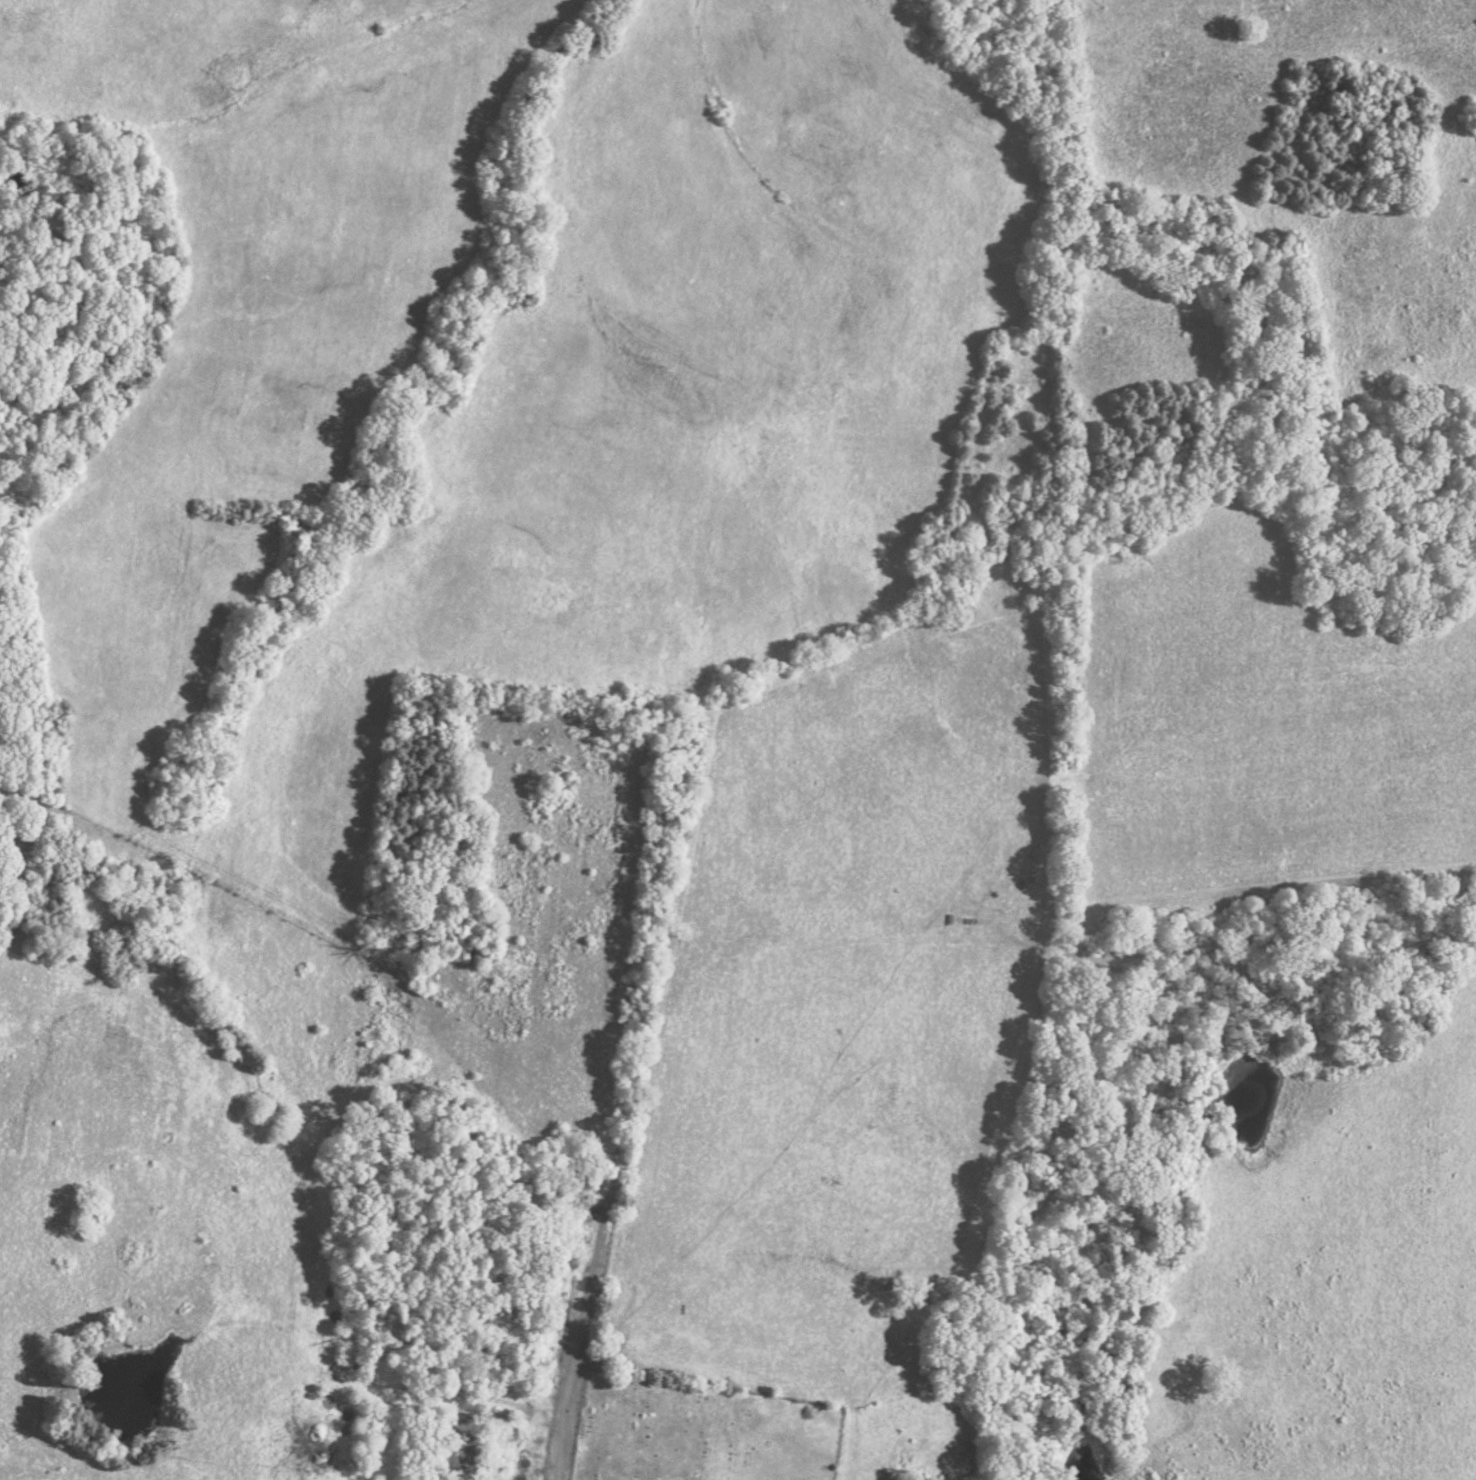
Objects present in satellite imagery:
park: (697, 1431)

